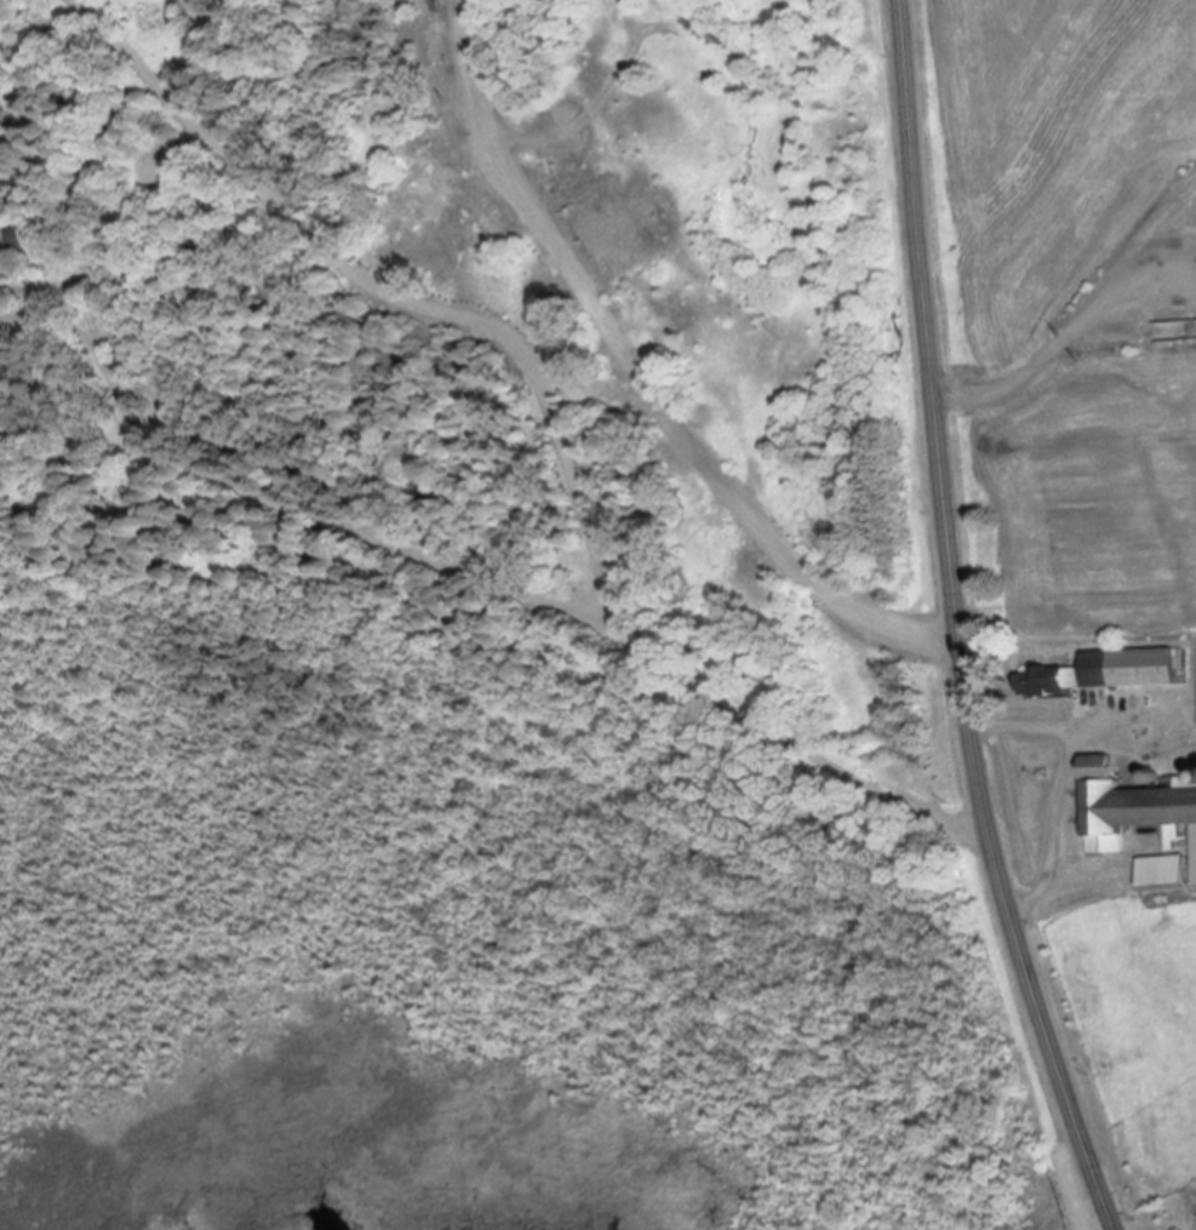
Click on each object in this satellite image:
building: (8, 248)
road: (1052, 353)
road: (640, 383)
road: (550, 413)
road: (299, 504)
road: (960, 624)
building: (1129, 670)
building: (1048, 683)
road: (1068, 778)
building: (1134, 812)
building: (1161, 873)

